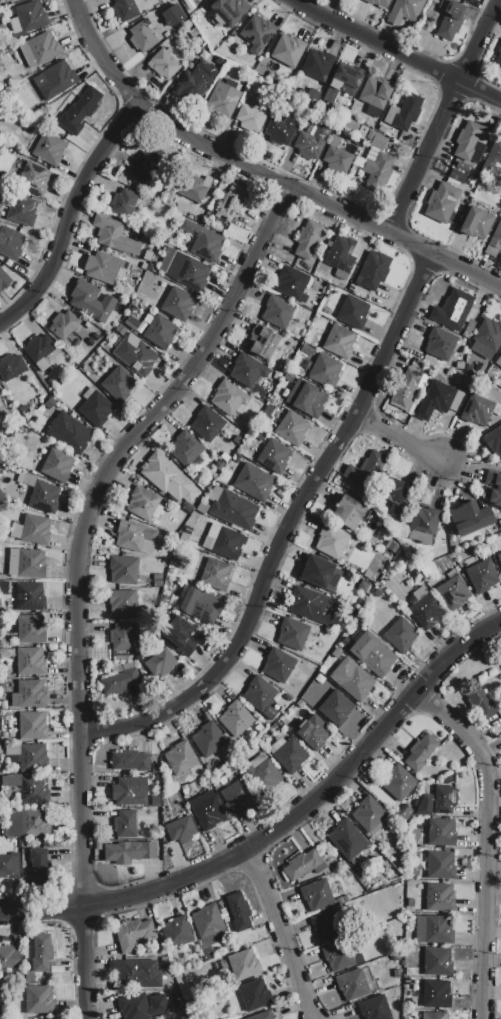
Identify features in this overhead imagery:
building: (4, 0)
building: (158, 0)
building: (473, 2)
building: (379, 3)
building: (176, 7)
building: (127, 8)
building: (189, 8)
building: (472, 9)
building: (229, 10)
building: (405, 11)
building: (31, 15)
building: (171, 15)
building: (451, 20)
building: (14, 26)
building: (257, 33)
building: (141, 37)
building: (39, 50)
building: (287, 51)
road: (397, 51)
building: (498, 55)
building: (218, 61)
building: (316, 64)
building: (163, 65)
building: (347, 79)
building: (57, 81)
building: (195, 83)
building: (375, 95)
building: (222, 100)
building: (250, 101)
building: (80, 111)
building: (404, 112)
road: (441, 116)
building: (250, 119)
building: (371, 122)
building: (350, 125)
building: (382, 128)
building: (280, 131)
building: (362, 133)
building: (467, 139)
building: (312, 140)
building: (376, 140)
building: (49, 149)
building: (495, 153)
building: (337, 160)
building: (147, 163)
building: (459, 166)
building: (467, 170)
building: (378, 172)
road: (261, 176)
building: (457, 177)
building: (34, 180)
building: (192, 188)
building: (442, 202)
building: (123, 203)
building: (230, 203)
building: (22, 212)
road: (73, 223)
building: (476, 223)
building: (114, 235)
building: (496, 237)
building: (166, 238)
building: (308, 239)
building: (203, 241)
building: (11, 243)
building: (340, 254)
building: (143, 266)
building: (102, 267)
building: (373, 271)
building: (186, 272)
building: (1, 274)
building: (291, 284)
building: (361, 293)
building: (91, 301)
building: (317, 301)
building: (177, 304)
building: (452, 311)
building: (277, 312)
building: (353, 313)
building: (63, 324)
building: (134, 325)
building: (87, 326)
building: (158, 331)
building: (487, 339)
building: (262, 342)
building: (339, 342)
building: (439, 345)
building: (39, 347)
building: (307, 350)
building: (136, 355)
building: (500, 356)
building: (470, 366)
building: (11, 367)
building: (247, 371)
building: (325, 371)
building: (277, 376)
building: (289, 377)
building: (118, 384)
building: (406, 388)
building: (228, 397)
building: (307, 398)
building: (438, 400)
building: (50, 403)
building: (95, 408)
building: (477, 410)
building: (268, 411)
building: (262, 420)
building: (206, 424)
building: (292, 428)
building: (69, 433)
building: (260, 435)
road: (401, 441)
building: (493, 441)
building: (185, 449)
building: (274, 455)
building: (57, 466)
building: (220, 466)
building: (366, 470)
building: (216, 471)
building: (168, 479)
building: (253, 482)
building: (498, 489)
building: (215, 493)
building: (41, 495)
building: (393, 495)
building: (144, 504)
building: (202, 508)
building: (234, 510)
building: (349, 512)
building: (178, 516)
building: (469, 517)
building: (424, 520)
building: (172, 527)
building: (35, 530)
building: (187, 530)
building: (16, 531)
road: (287, 531)
building: (211, 537)
building: (135, 538)
building: (331, 541)
building: (357, 542)
building: (227, 544)
building: (392, 547)
building: (442, 552)
building: (499, 558)
building: (176, 560)
building: (12, 562)
building: (30, 563)
building: (123, 570)
building: (316, 572)
road: (79, 575)
building: (216, 575)
building: (481, 576)
building: (2, 577)
building: (157, 581)
building: (4, 585)
building: (330, 585)
building: (362, 587)
building: (157, 591)
building: (377, 593)
building: (420, 593)
building: (453, 593)
building: (30, 596)
building: (165, 599)
building: (413, 601)
building: (122, 603)
building: (200, 606)
building: (311, 606)
building: (425, 612)
building: (336, 626)
building: (31, 629)
building: (293, 634)
building: (400, 635)
building: (183, 636)
building: (356, 636)
building: (121, 637)
building: (7, 653)
building: (336, 654)
building: (373, 654)
building: (500, 659)
building: (30, 661)
building: (160, 663)
building: (278, 665)
building: (352, 679)
building: (121, 680)
building: (258, 693)
building: (29, 695)
building: (287, 699)
building: (480, 703)
building: (3, 705)
building: (336, 708)
building: (295, 710)
building: (270, 713)
building: (235, 719)
building: (32, 726)
building: (258, 728)
building: (314, 732)
building: (208, 740)
building: (276, 746)
building: (14, 750)
building: (420, 752)
building: (289, 756)
building: (33, 758)
building: (180, 758)
building: (130, 761)
building: (254, 763)
building: (207, 768)
building: (155, 769)
building: (5, 771)
building: (264, 776)
building: (11, 780)
building: (398, 783)
building: (34, 790)
building: (184, 790)
building: (130, 791)
building: (238, 796)
building: (6, 799)
building: (444, 800)
building: (155, 802)
building: (173, 805)
building: (426, 805)
building: (407, 812)
building: (209, 813)
building: (368, 814)
building: (27, 824)
building: (124, 824)
road: (279, 824)
building: (180, 830)
building: (441, 832)
building: (413, 835)
building: (346, 840)
road: (485, 842)
building: (401, 845)
building: (412, 845)
building: (129, 852)
building: (303, 865)
building: (440, 866)
building: (9, 867)
building: (39, 868)
building: (316, 895)
building: (439, 898)
building: (410, 902)
building: (239, 912)
building: (208, 925)
building: (325, 925)
building: (433, 930)
building: (177, 932)
building: (134, 934)
road: (279, 934)
building: (42, 953)
building: (340, 956)
building: (9, 957)
building: (28, 962)
building: (437, 962)
building: (243, 964)
building: (136, 974)
building: (357, 984)
building: (436, 994)
building: (255, 996)
building: (39, 999)
building: (140, 1008)
building: (374, 1008)
building: (434, 1015)
building: (262, 1016)
building: (51, 1018)

